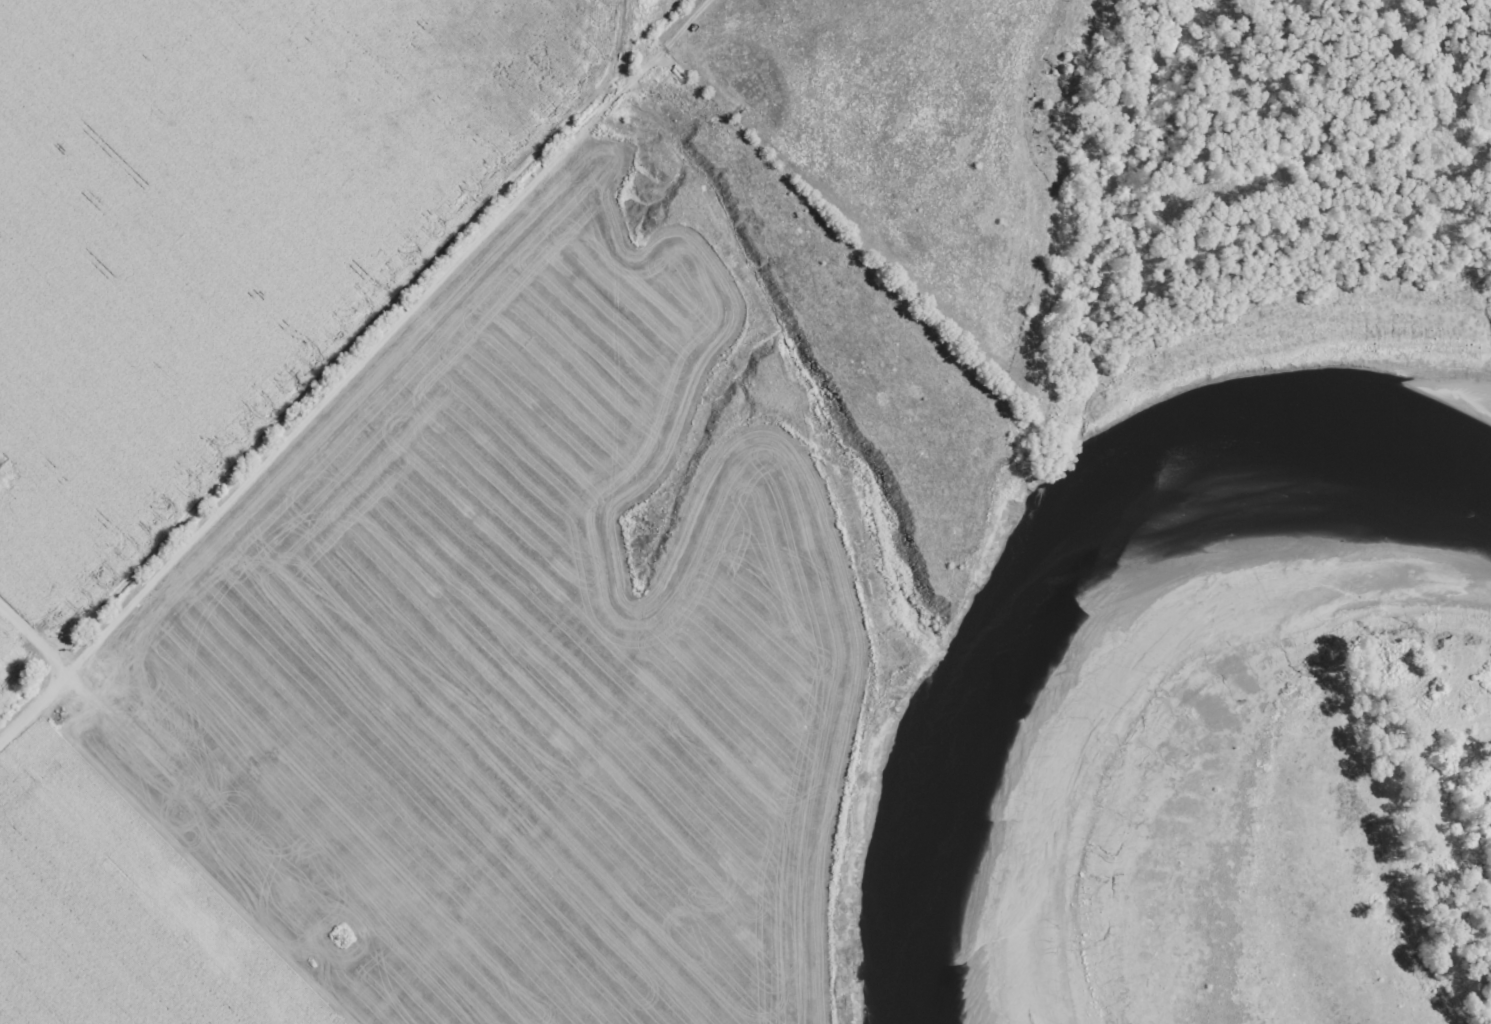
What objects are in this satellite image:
road: (355, 383)
river: (1101, 605)

